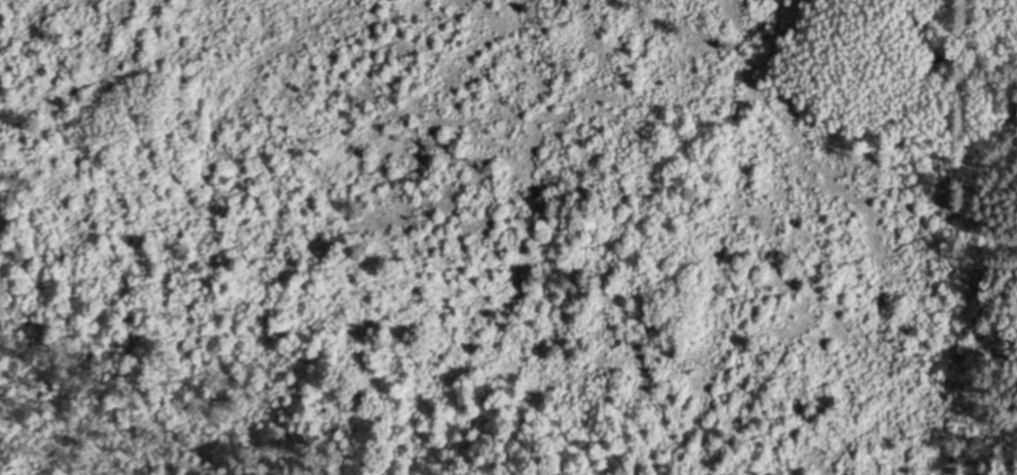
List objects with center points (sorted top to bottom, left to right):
road: (727, 3)

